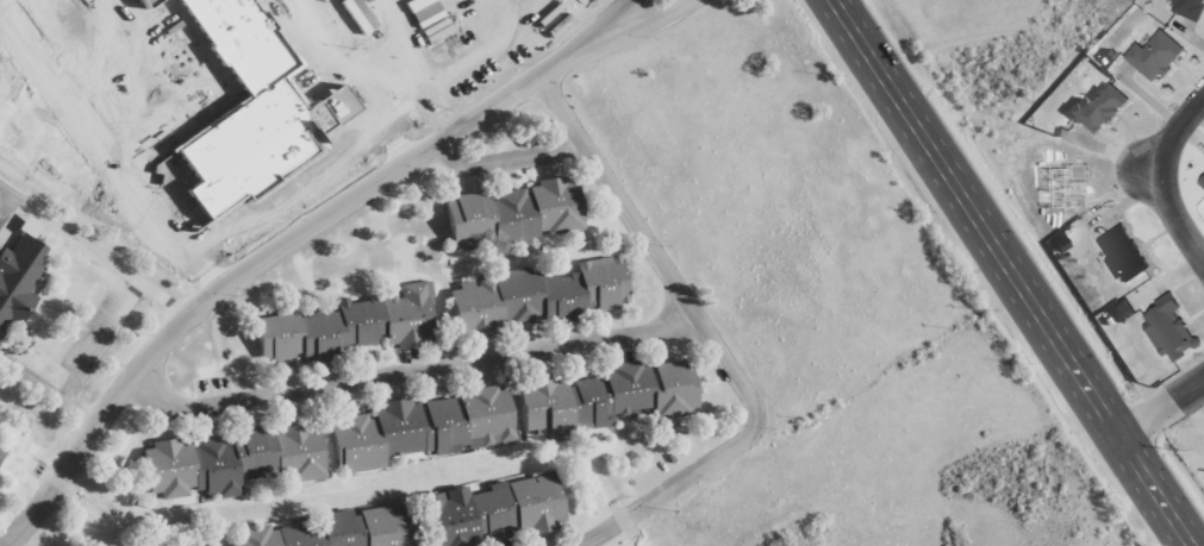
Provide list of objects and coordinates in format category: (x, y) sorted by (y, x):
building: (1185, 8)
building: (1149, 56)
building: (1092, 108)
road: (498, 161)
road: (1152, 176)
building: (1200, 181)
building: (507, 214)
road: (294, 238)
building: (1116, 255)
road: (654, 264)
road: (1005, 272)
building: (14, 278)
building: (531, 297)
building: (1119, 310)
building: (341, 327)
building: (1166, 328)
road: (404, 372)
building: (599, 398)
road: (1159, 408)
building: (463, 420)
building: (369, 437)
building: (223, 462)
road: (654, 497)
building: (486, 512)
building: (331, 531)
building: (188, 542)

